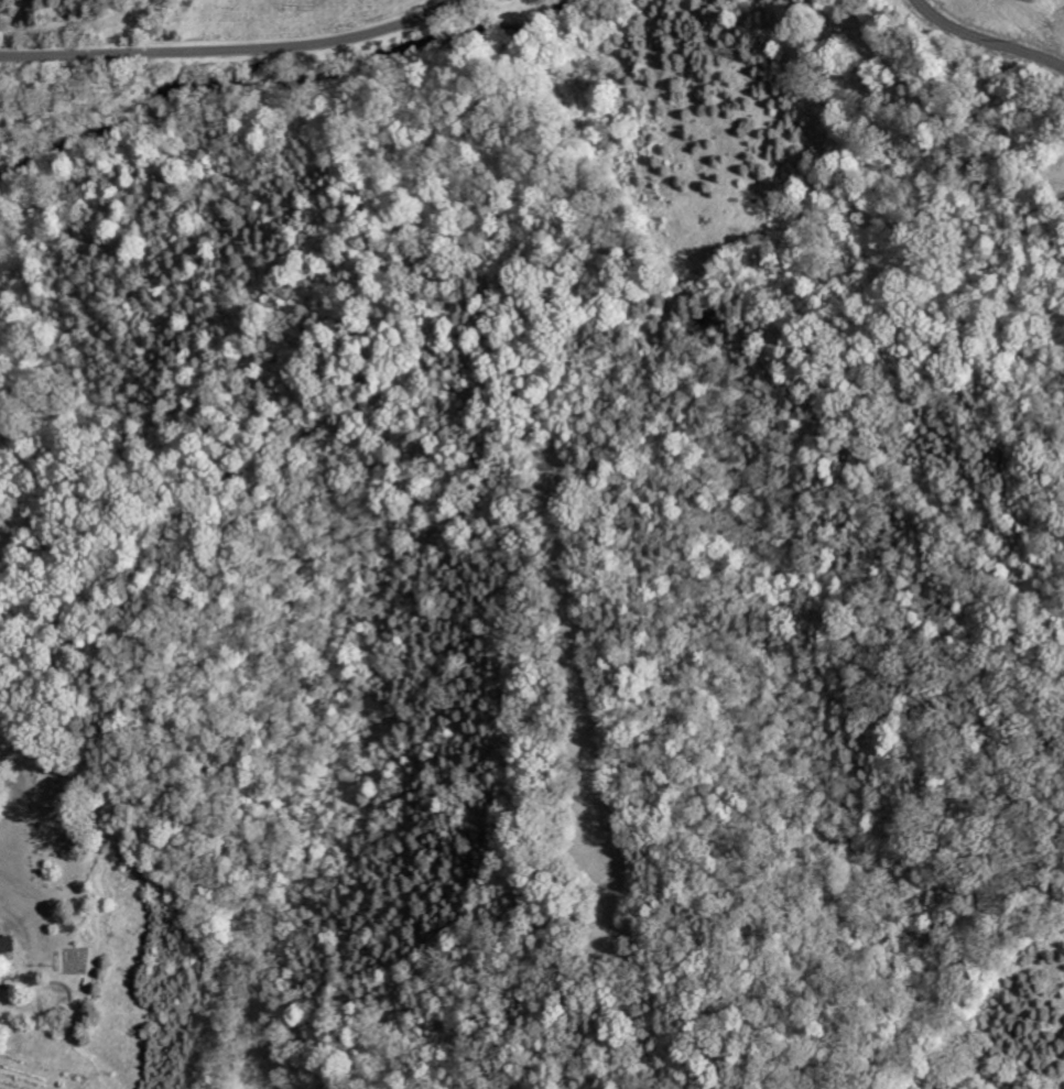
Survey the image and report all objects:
road: (230, 50)
building: (7, 946)

